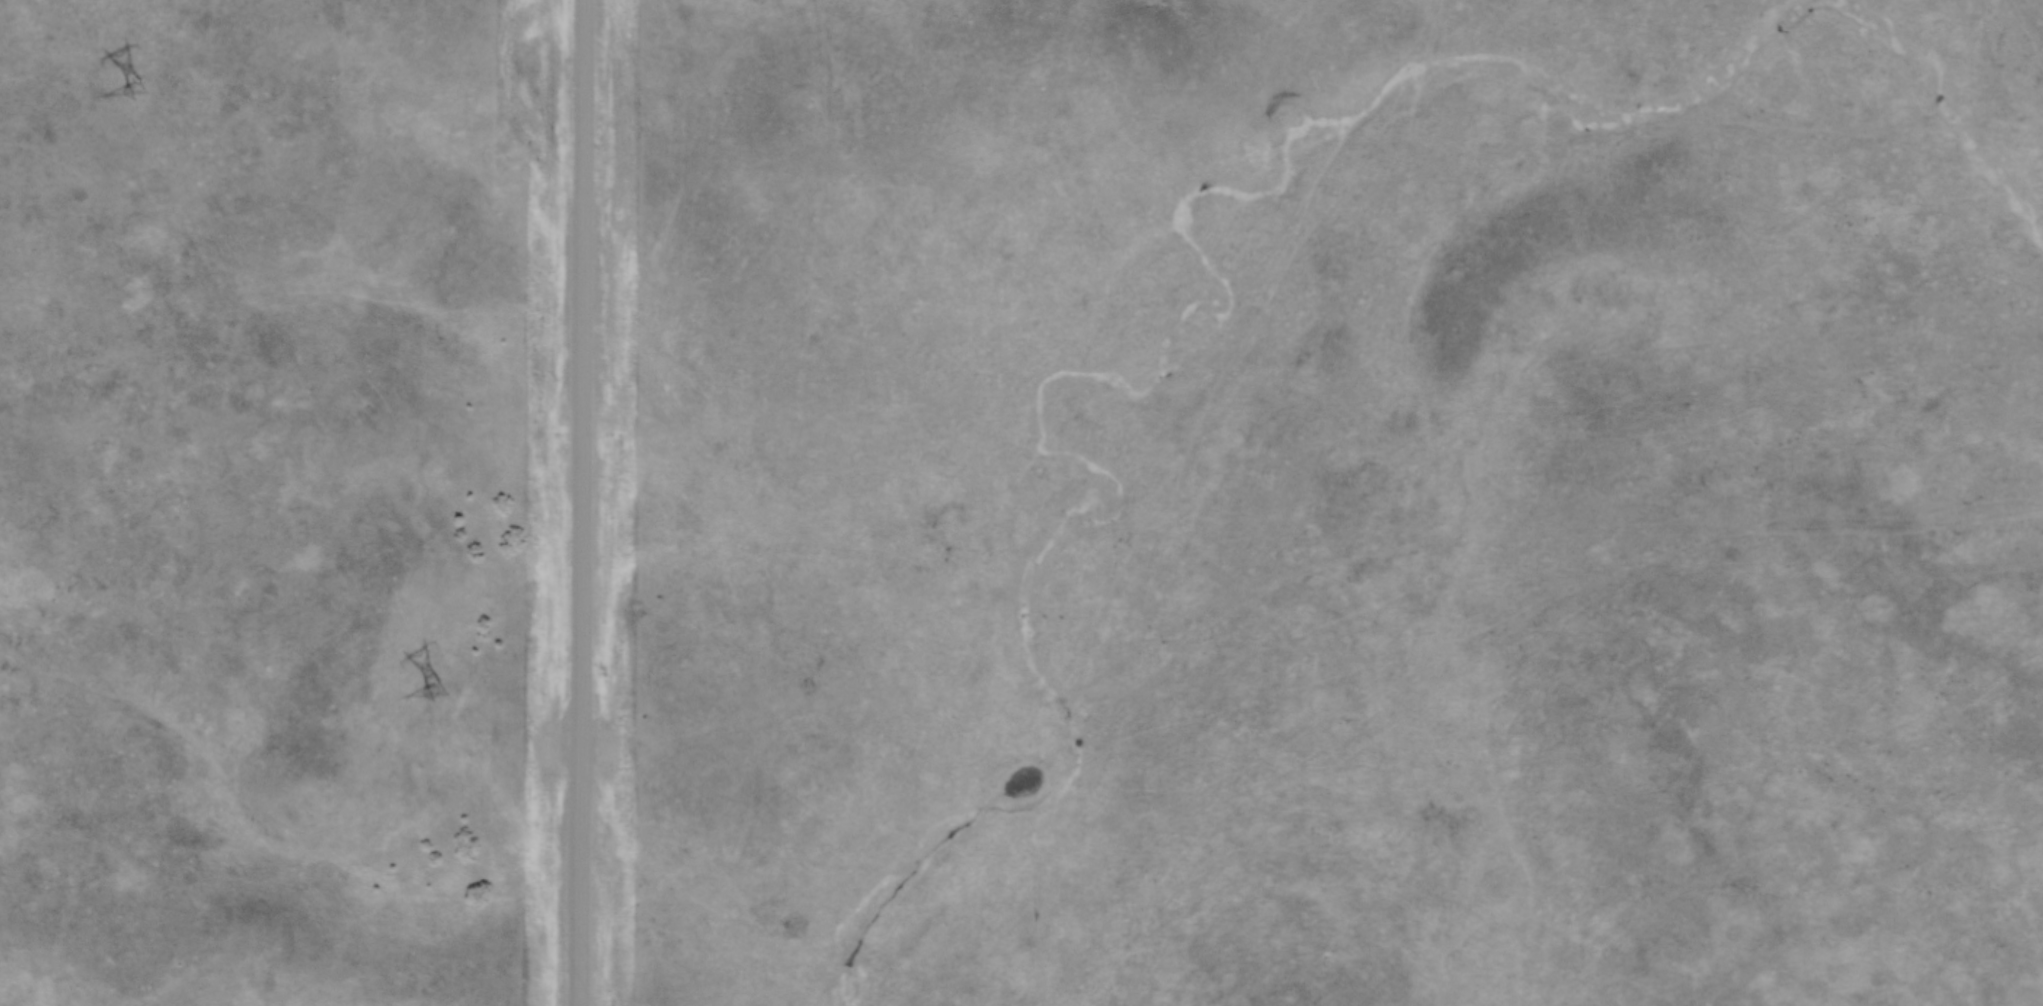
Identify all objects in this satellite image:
power tower: (135, 87)
road: (583, 502)
power tower: (442, 689)

